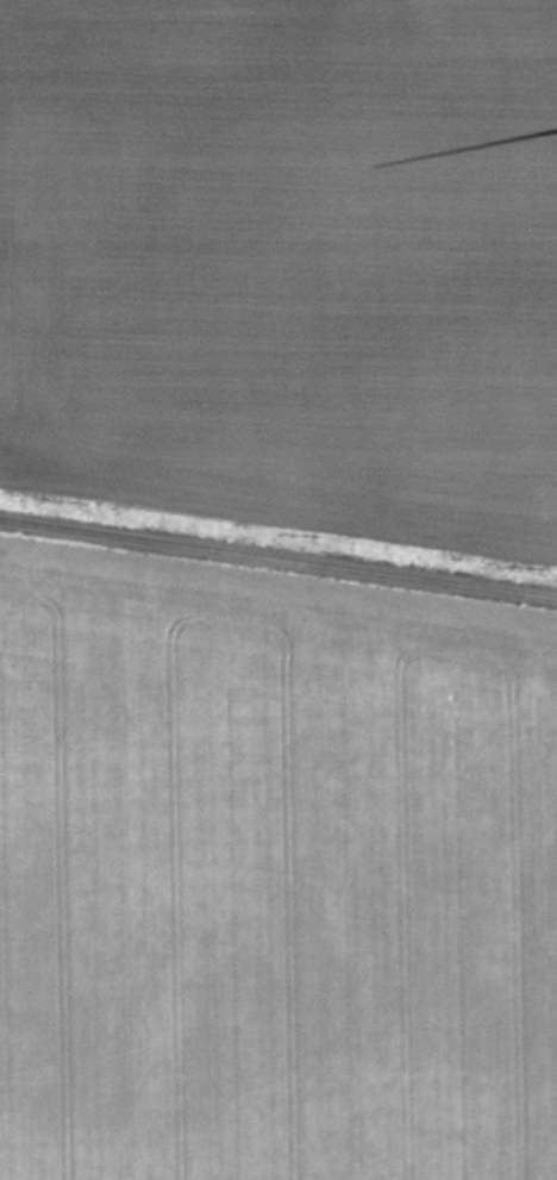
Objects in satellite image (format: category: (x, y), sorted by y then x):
railway: (278, 556)

